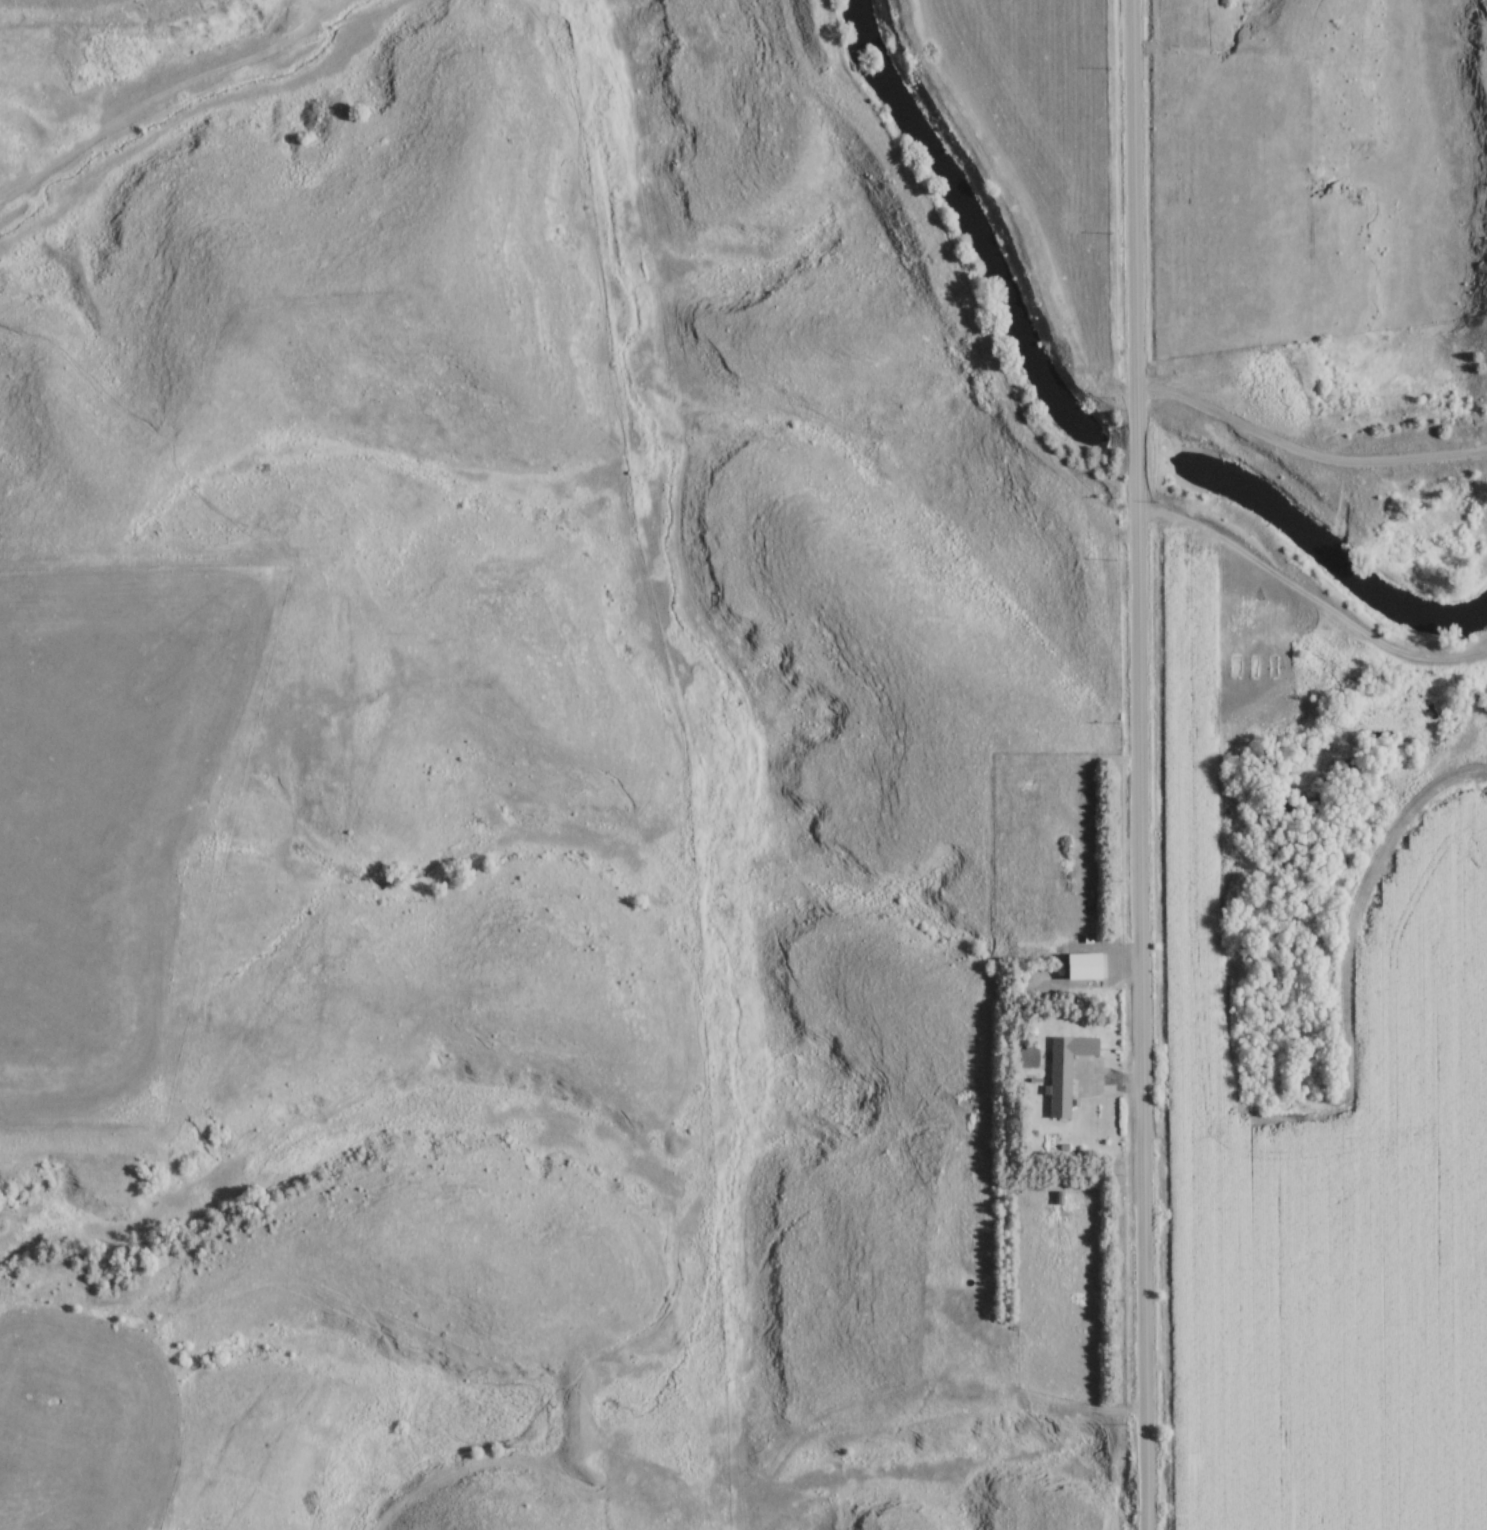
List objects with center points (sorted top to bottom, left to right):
building: (1158, 291)
road: (1305, 450)
road: (1305, 600)
road: (1137, 764)
building: (1023, 1059)
building: (1061, 1070)
crop: (1320, 1180)

